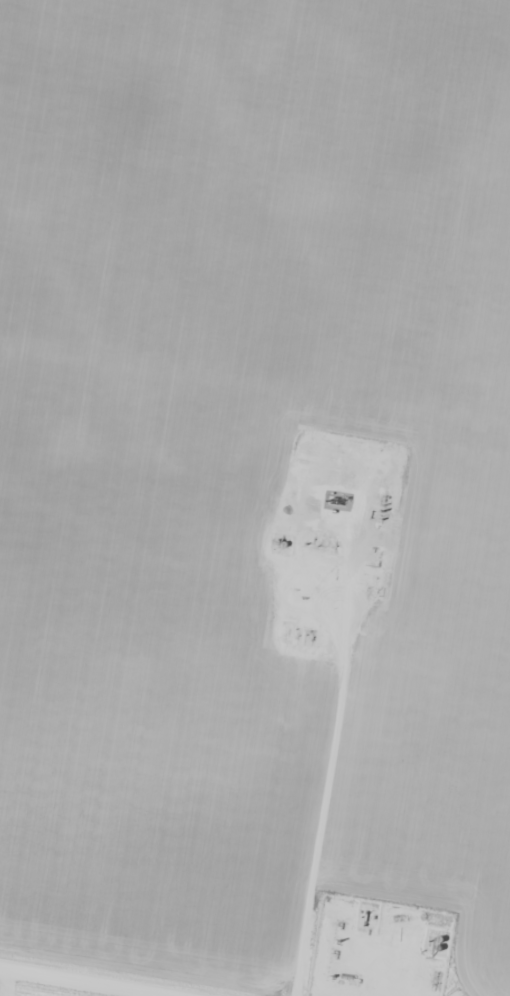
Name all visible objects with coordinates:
road: (82, 982)

